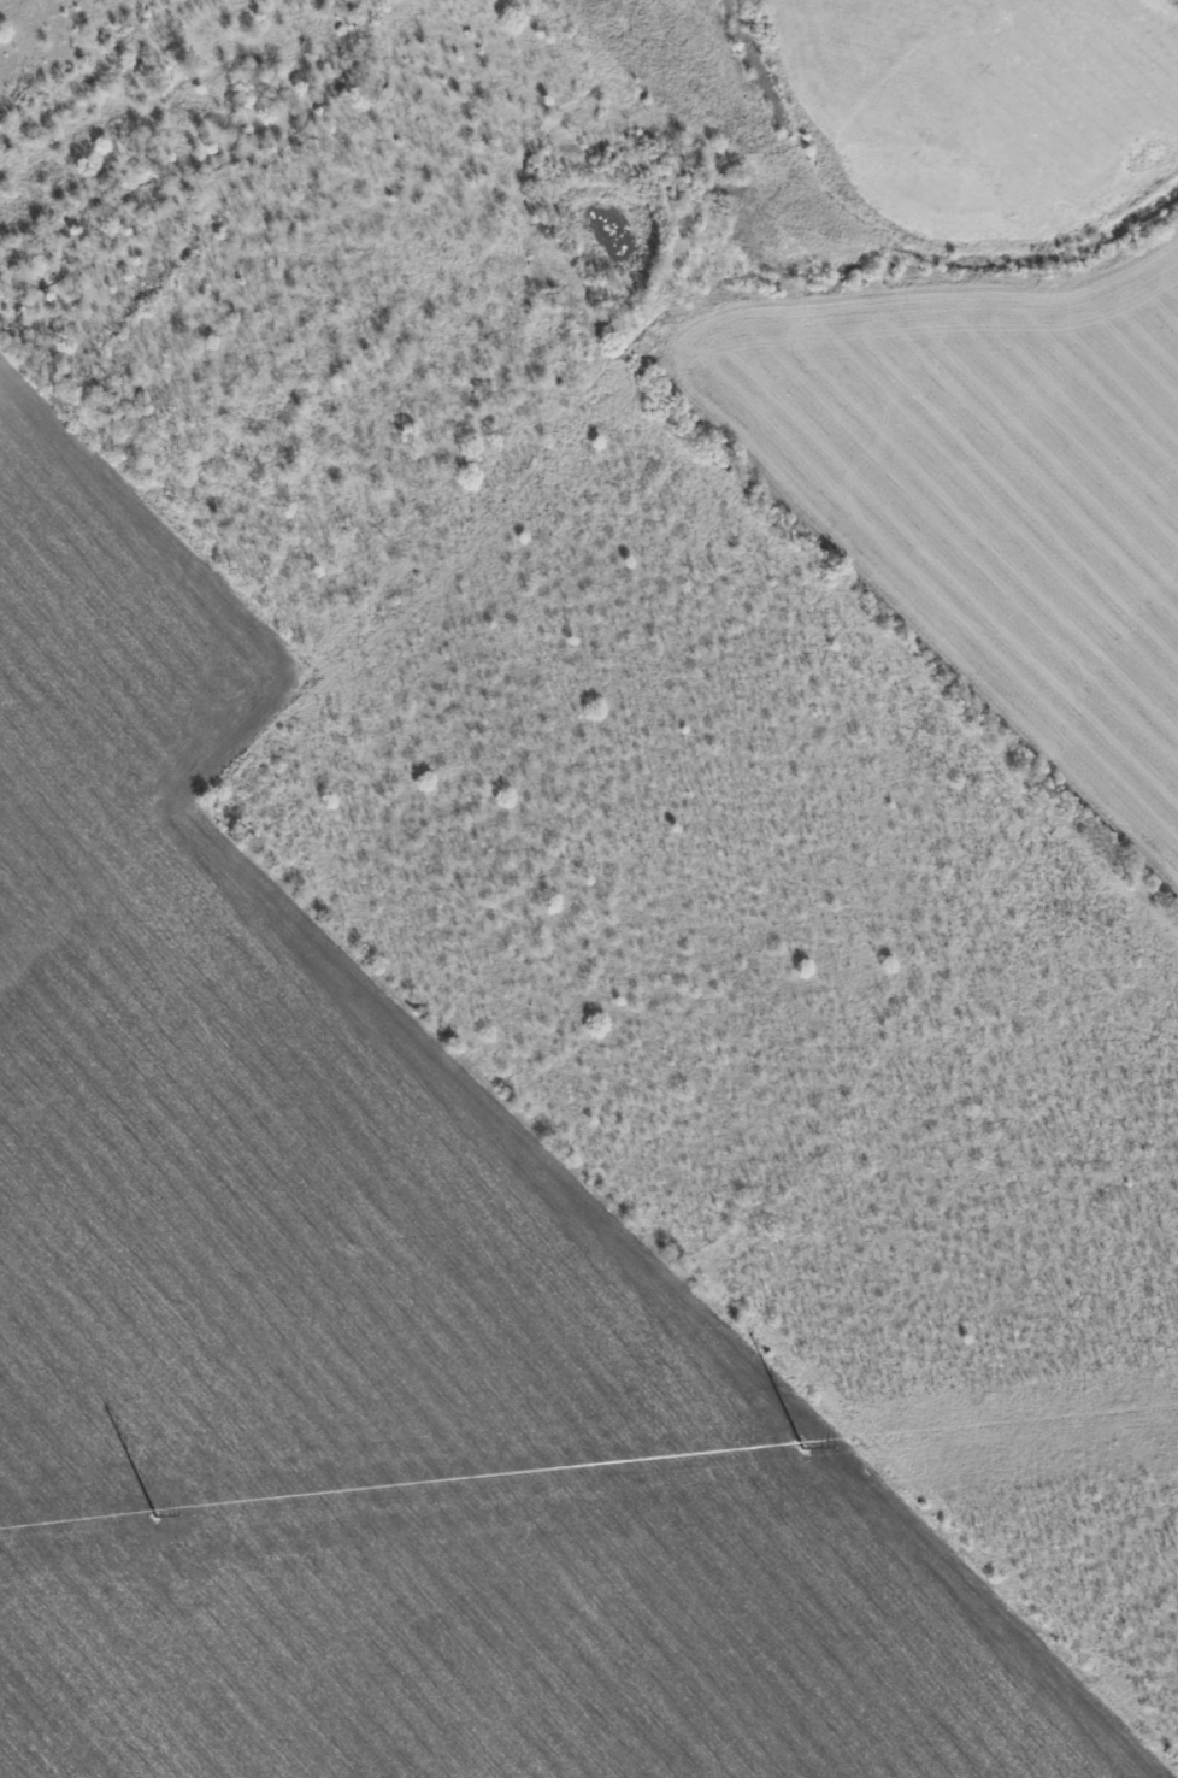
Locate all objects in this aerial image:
power tower: (791, 1456)
power tower: (148, 1520)

